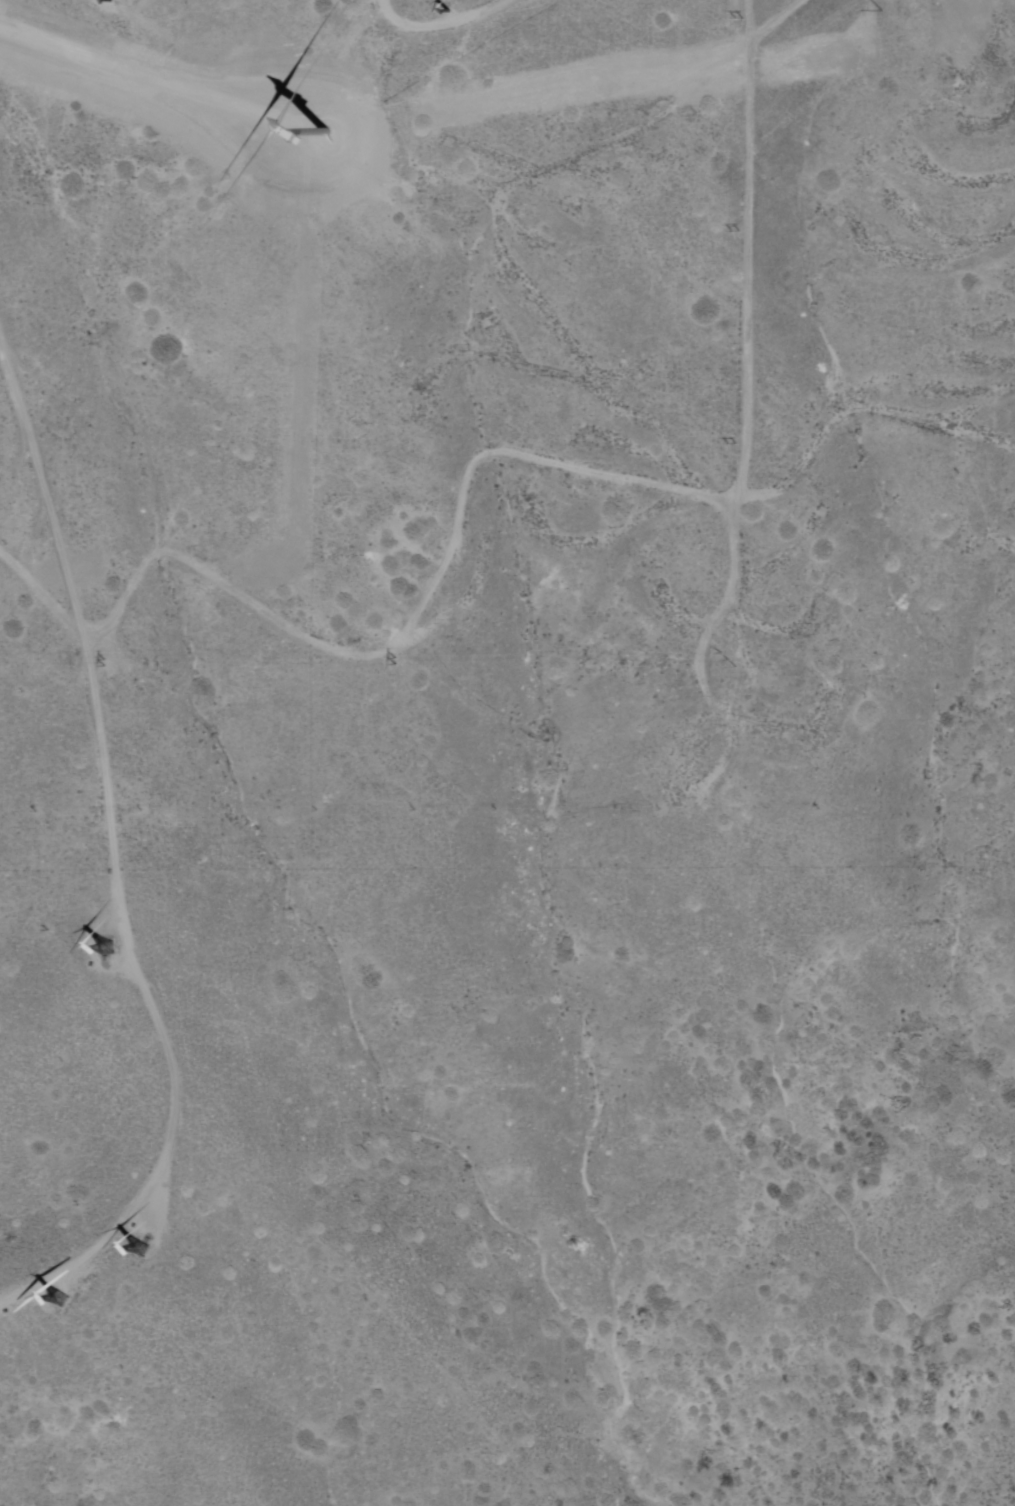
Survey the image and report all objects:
wind turbine: (107, 0)
wind turbine: (446, 11)
road: (438, 23)
wind turbine: (330, 139)
wind turbine: (100, 952)
wind turbine: (139, 1251)
wind turbine: (56, 1301)

